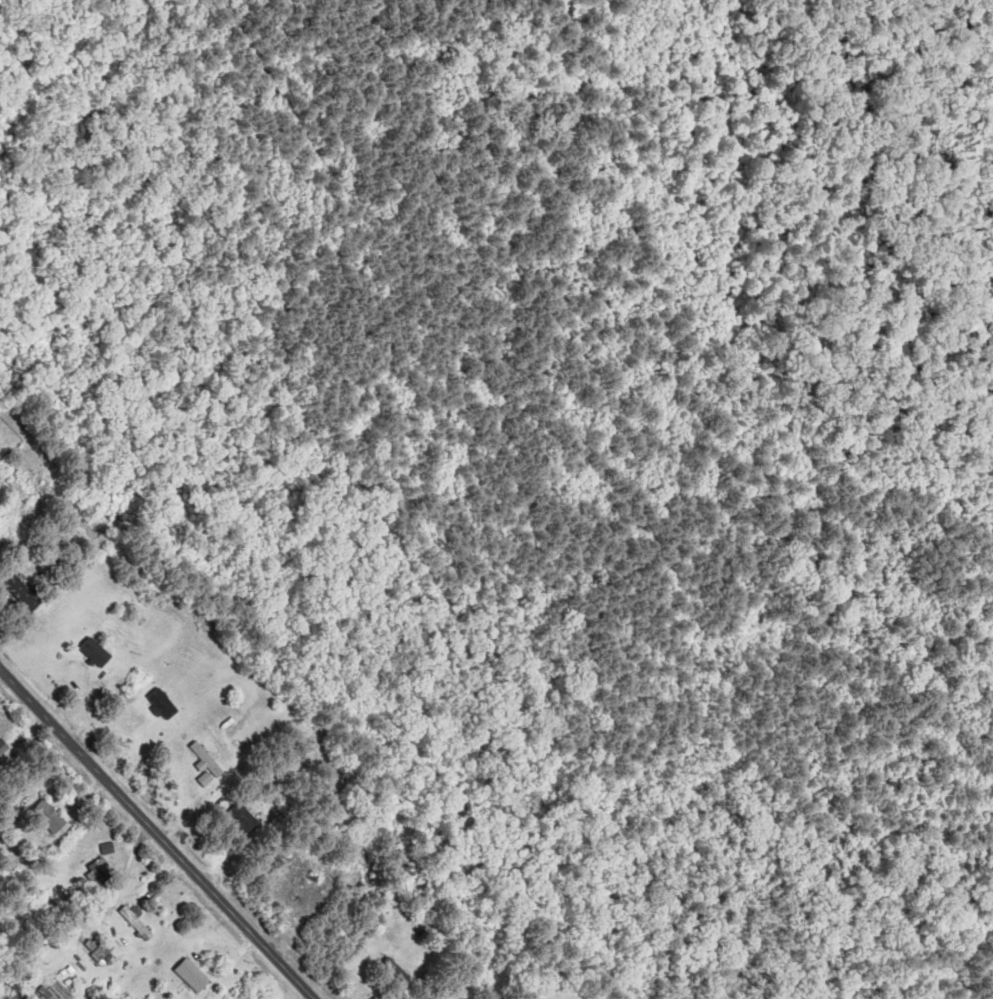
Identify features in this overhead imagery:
building: (20, 592)
building: (95, 654)
building: (162, 705)
building: (205, 760)
building: (49, 816)
building: (244, 817)
road: (157, 833)
building: (100, 873)
building: (135, 922)
building: (101, 954)
building: (396, 972)
building: (192, 975)

